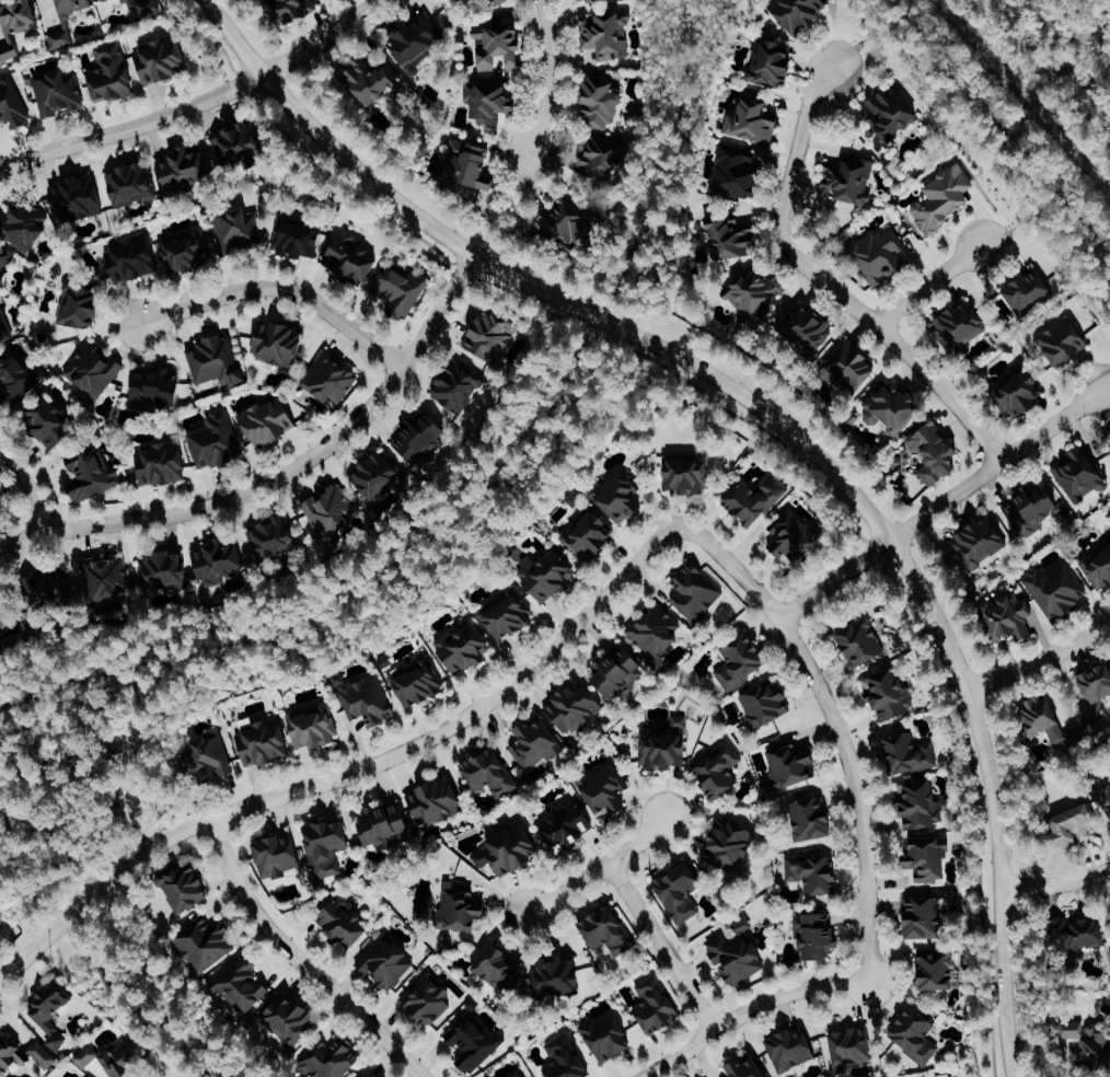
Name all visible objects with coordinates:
building: (586, 1)
building: (497, 2)
building: (297, 9)
building: (799, 12)
building: (67, 21)
building: (18, 24)
building: (608, 35)
road: (865, 36)
road: (323, 39)
building: (418, 40)
building: (500, 44)
building: (163, 59)
building: (774, 65)
building: (112, 72)
road: (552, 78)
building: (372, 80)
building: (59, 92)
building: (490, 100)
building: (12, 103)
building: (603, 103)
building: (893, 114)
building: (754, 121)
road: (130, 125)
road: (999, 125)
building: (243, 144)
building: (609, 159)
building: (471, 163)
building: (190, 165)
building: (737, 171)
building: (852, 178)
building: (132, 184)
building: (79, 198)
building: (944, 198)
building: (567, 217)
road: (1022, 220)
building: (26, 224)
building: (239, 230)
building: (736, 238)
building: (299, 239)
building: (188, 253)
building: (882, 255)
building: (134, 258)
building: (354, 258)
building: (5, 265)
road: (927, 283)
road: (828, 286)
road: (281, 288)
building: (402, 289)
building: (753, 292)
building: (1031, 292)
building: (84, 308)
building: (5, 323)
building: (963, 324)
building: (810, 327)
building: (1064, 341)
building: (279, 344)
building: (217, 360)
building: (853, 364)
building: (95, 369)
building: (19, 377)
building: (333, 378)
building: (459, 385)
building: (158, 386)
road: (1107, 386)
building: (1020, 394)
building: (892, 407)
building: (268, 421)
road: (779, 421)
building: (55, 425)
building: (421, 438)
building: (217, 441)
road: (791, 452)
building: (937, 453)
building: (163, 463)
road: (996, 464)
building: (691, 473)
building: (94, 474)
road: (286, 475)
building: (380, 475)
building: (1080, 475)
road: (27, 488)
road: (488, 490)
building: (623, 496)
building: (756, 498)
building: (1034, 508)
building: (329, 509)
building: (795, 534)
building: (590, 536)
building: (275, 537)
building: (983, 541)
building: (164, 570)
building: (1099, 570)
building: (551, 576)
building: (105, 577)
road: (835, 579)
building: (1059, 589)
building: (697, 592)
building: (511, 617)
building: (1013, 617)
building: (5, 619)
building: (656, 634)
building: (863, 642)
building: (465, 647)
road: (1040, 661)
building: (742, 662)
building: (617, 669)
building: (418, 683)
building: (1098, 683)
building: (890, 696)
building: (367, 698)
building: (766, 703)
building: (576, 707)
road: (470, 713)
building: (1044, 715)
building: (1099, 722)
building: (315, 728)
building: (265, 742)
building: (536, 743)
building: (667, 745)
building: (910, 754)
building: (208, 758)
building: (790, 766)
building: (720, 771)
building: (492, 773)
building: (606, 789)
road: (117, 791)
road: (858, 792)
building: (438, 801)
building: (923, 806)
parking lot: (127, 808)
road: (140, 817)
building: (813, 819)
building: (1079, 824)
building: (386, 825)
building: (569, 826)
building: (731, 844)
building: (328, 847)
building: (510, 850)
building: (278, 855)
building: (930, 859)
road: (599, 865)
building: (814, 872)
road: (1056, 885)
building: (186, 888)
building: (681, 892)
building: (462, 908)
building: (925, 917)
building: (345, 923)
building: (610, 930)
road: (46, 934)
building: (1082, 934)
building: (1, 936)
building: (819, 936)
building: (207, 943)
road: (662, 943)
road: (92, 950)
building: (739, 953)
road: (299, 962)
building: (386, 962)
building: (499, 963)
building: (937, 970)
building: (557, 977)
building: (243, 984)
building: (429, 999)
building: (658, 1005)
road: (749, 1008)
building: (53, 1010)
building: (289, 1019)
building: (1073, 1029)
building: (916, 1034)
building: (609, 1038)
building: (474, 1041)
building: (853, 1046)
building: (793, 1049)
building: (23, 1054)
building: (86, 1056)
building: (332, 1059)
building: (566, 1059)
building: (120, 1062)
building: (747, 1068)
road: (192, 1070)
building: (373, 1074)
building: (518, 1074)

